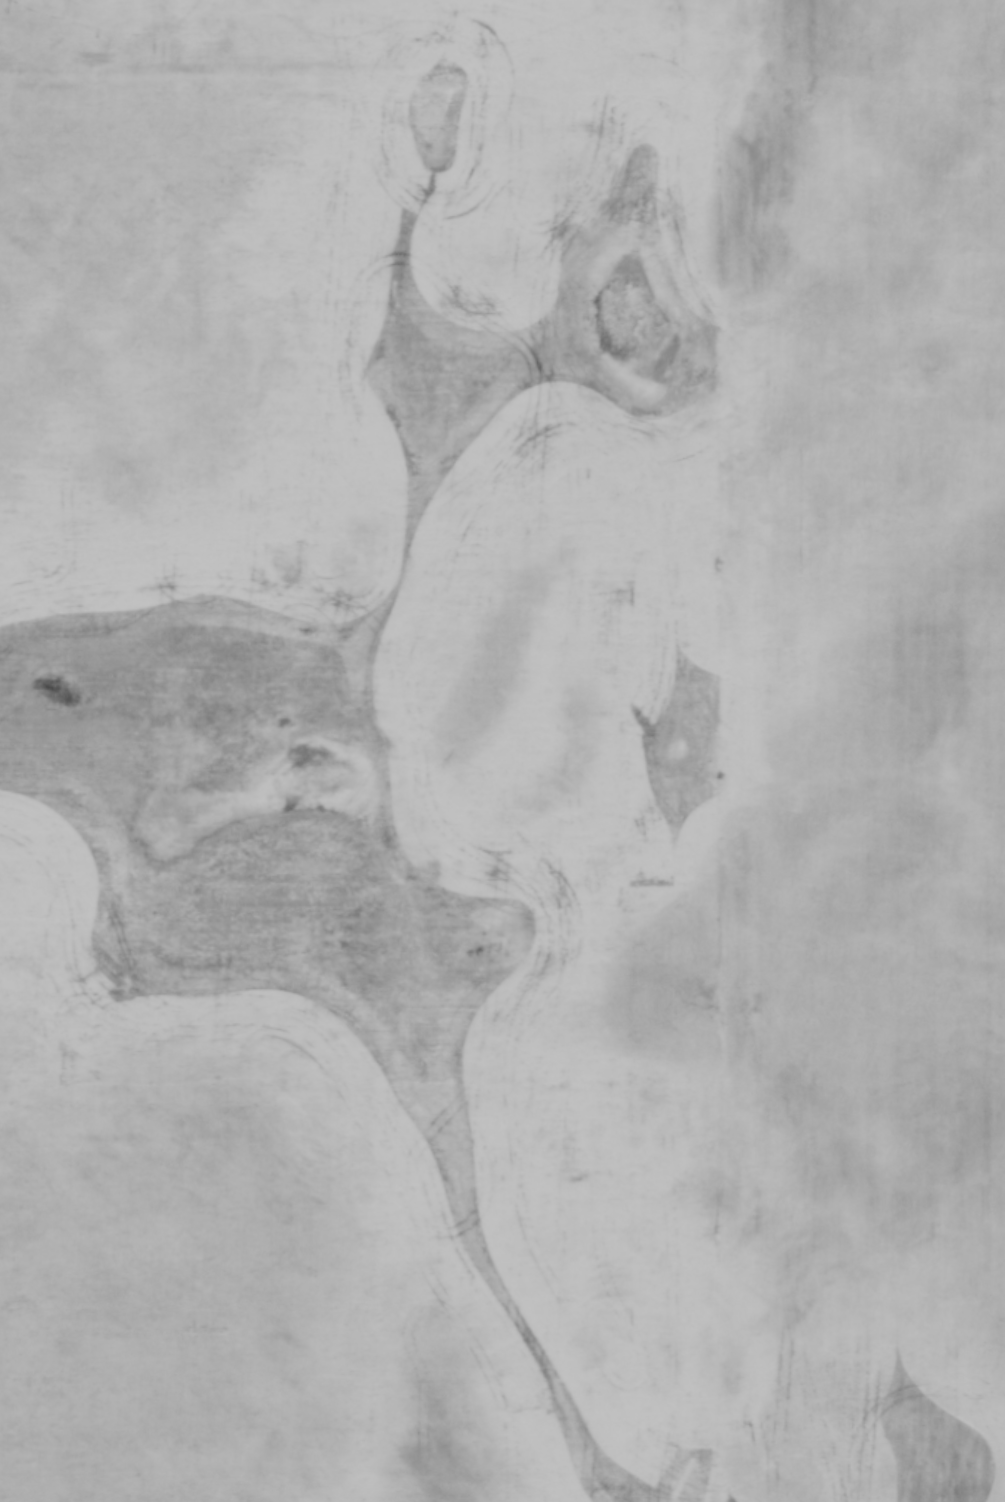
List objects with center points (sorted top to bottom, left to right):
road: (882, 80)

